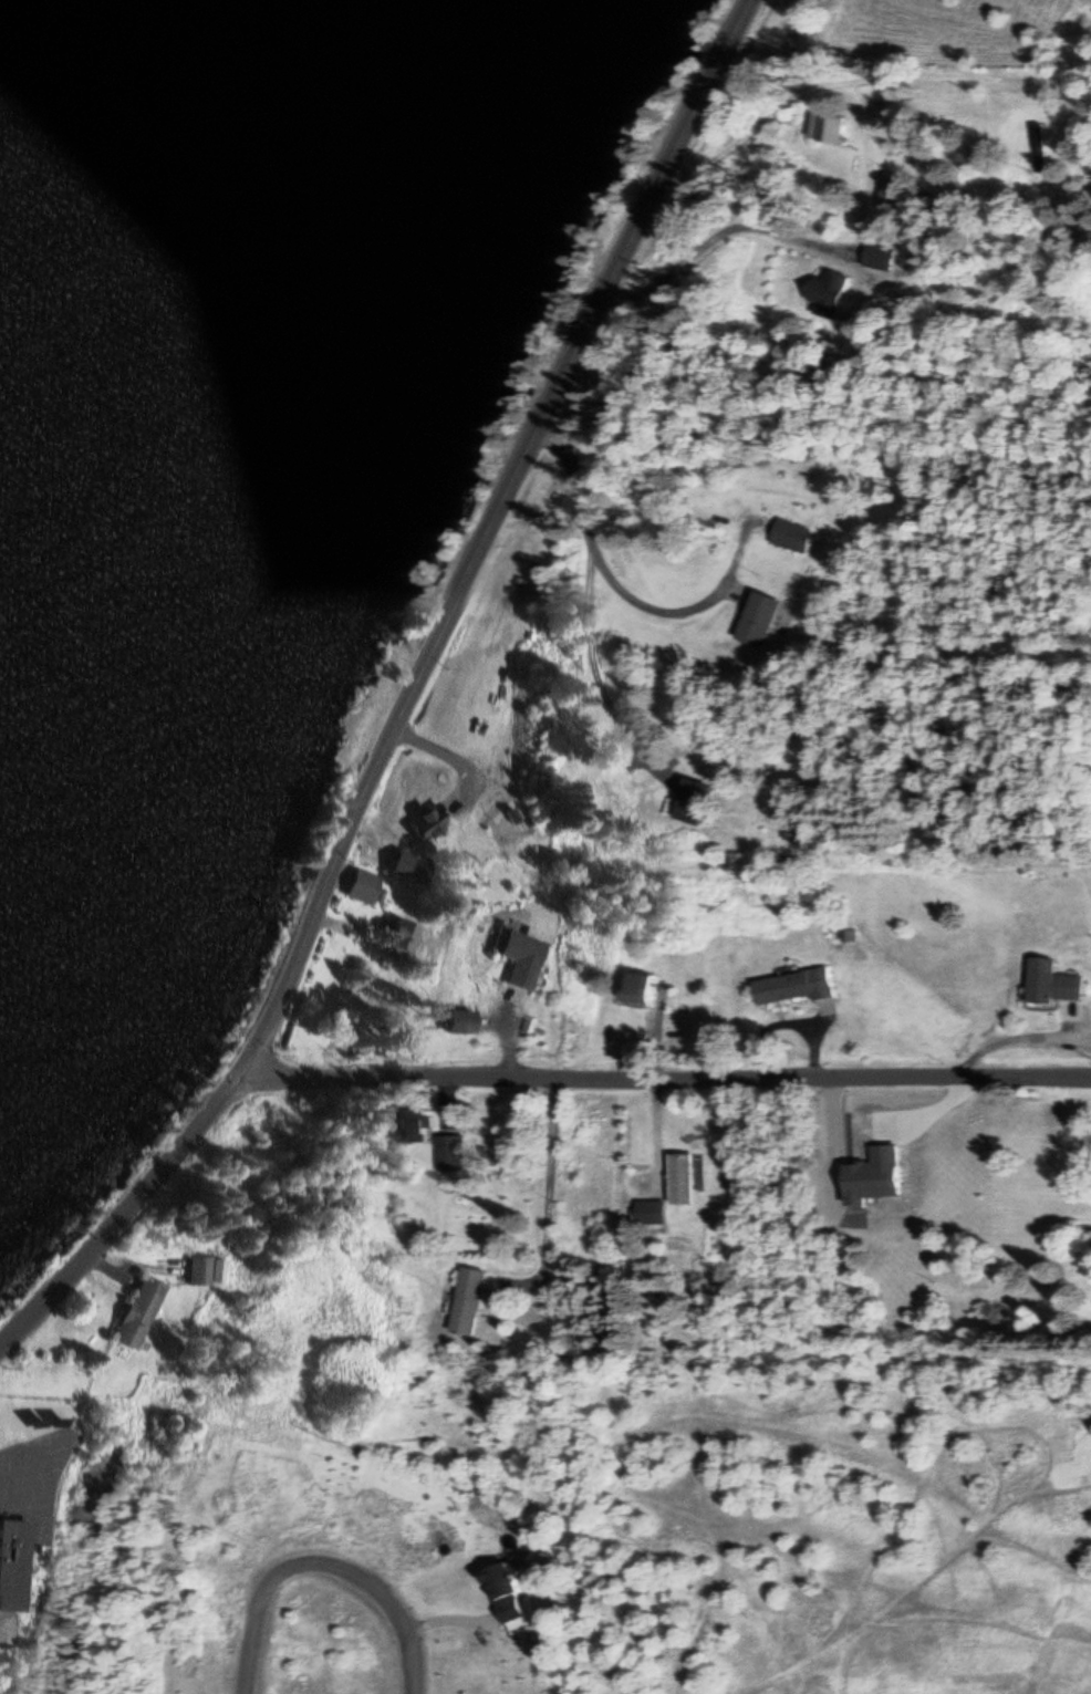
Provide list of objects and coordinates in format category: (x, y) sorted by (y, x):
building: (828, 126)
building: (1040, 146)
building: (886, 183)
building: (879, 254)
building: (827, 292)
road: (571, 486)
road: (493, 526)
building: (790, 534)
road: (595, 568)
building: (757, 617)
building: (690, 800)
building: (418, 822)
building: (796, 832)
building: (361, 885)
building: (401, 936)
building: (517, 956)
building: (1050, 983)
building: (793, 985)
building: (638, 986)
building: (454, 1020)
road: (667, 1075)
building: (408, 1124)
building: (449, 1152)
building: (682, 1177)
road: (548, 1182)
road: (124, 1199)
building: (651, 1210)
building: (208, 1270)
building: (468, 1300)
building: (137, 1311)
road: (331, 1560)
building: (9, 1563)
building: (501, 1590)

